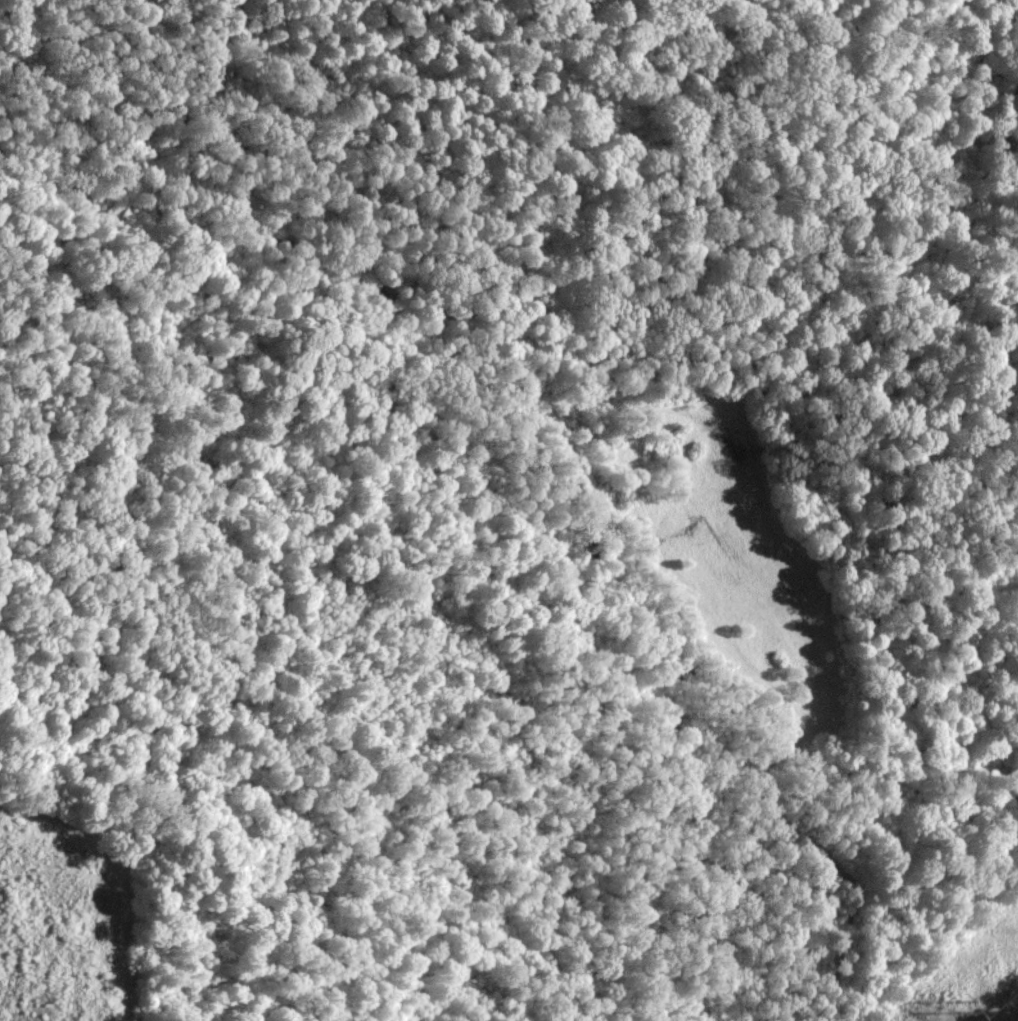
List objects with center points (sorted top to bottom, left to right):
power tower: (964, 1006)

